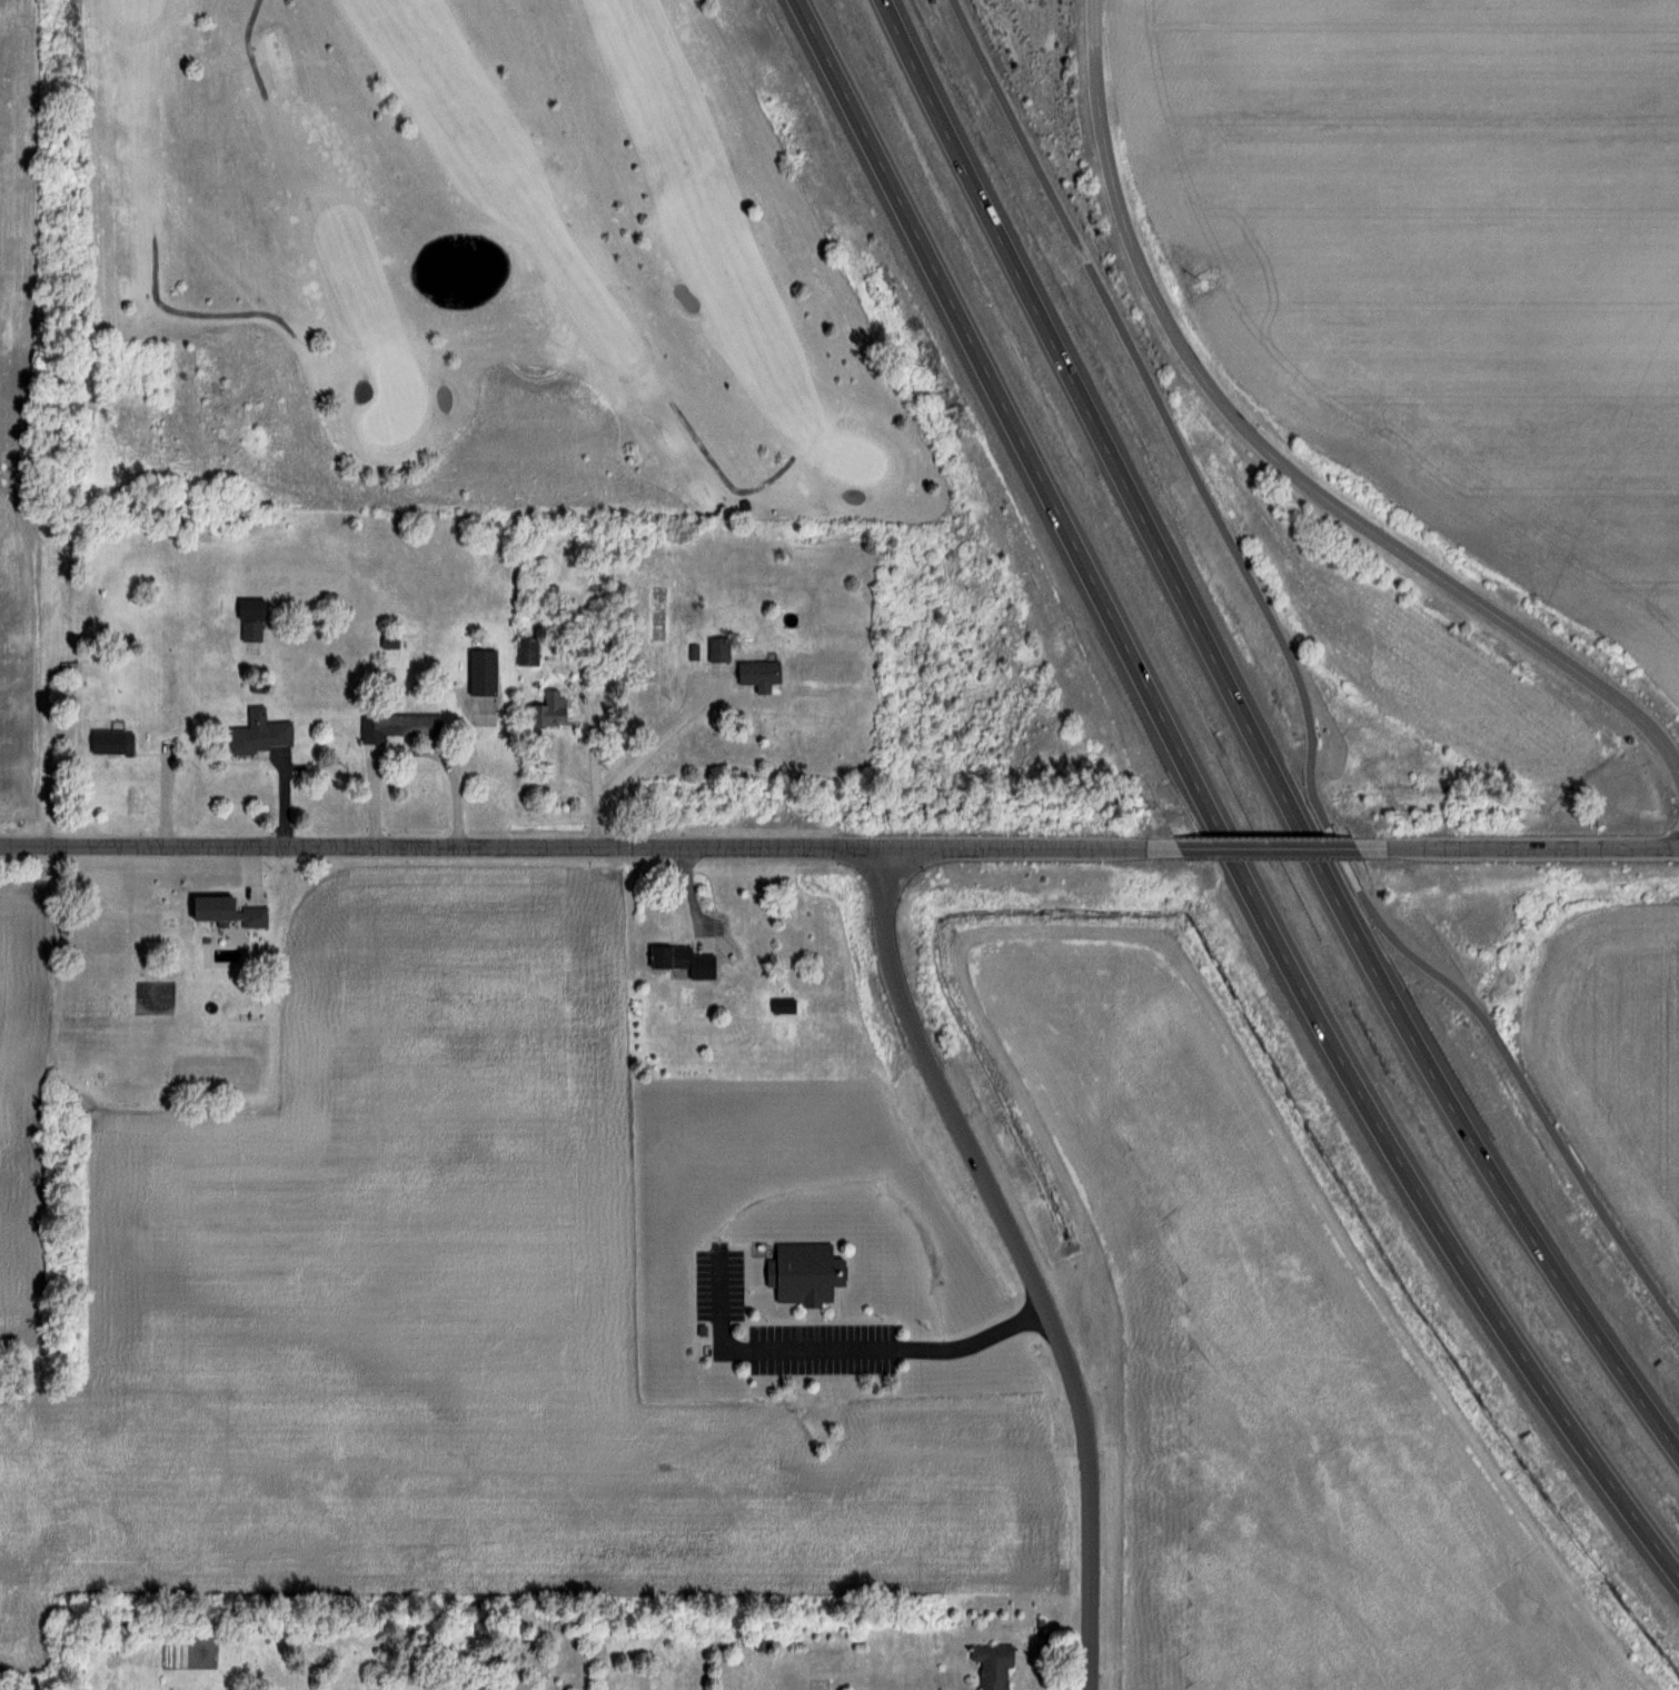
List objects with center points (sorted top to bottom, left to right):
park: (454, 270)
road: (1276, 459)
building: (249, 617)
building: (388, 642)
building: (717, 648)
building: (480, 670)
building: (757, 673)
road: (1276, 693)
building: (547, 708)
building: (397, 726)
building: (259, 733)
road: (1256, 737)
road: (657, 739)
building: (110, 740)
road: (407, 748)
road: (592, 769)
road: (1208, 806)
road: (1265, 845)
road: (1532, 847)
road: (573, 848)
building: (235, 912)
building: (679, 962)
building: (783, 1005)
road: (1025, 1256)
building: (803, 1272)
road: (834, 1348)
building: (992, 1663)

